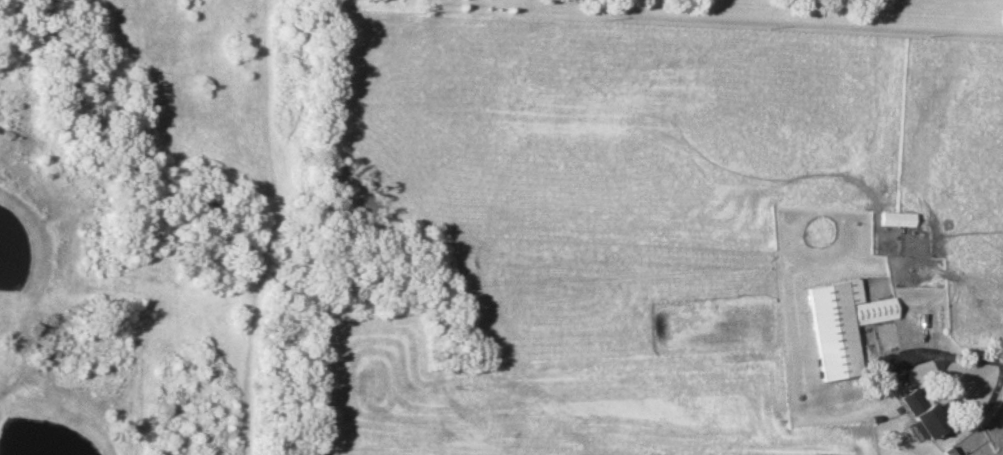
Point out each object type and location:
building: (896, 220)
building: (841, 327)
road: (950, 384)
building: (921, 411)

